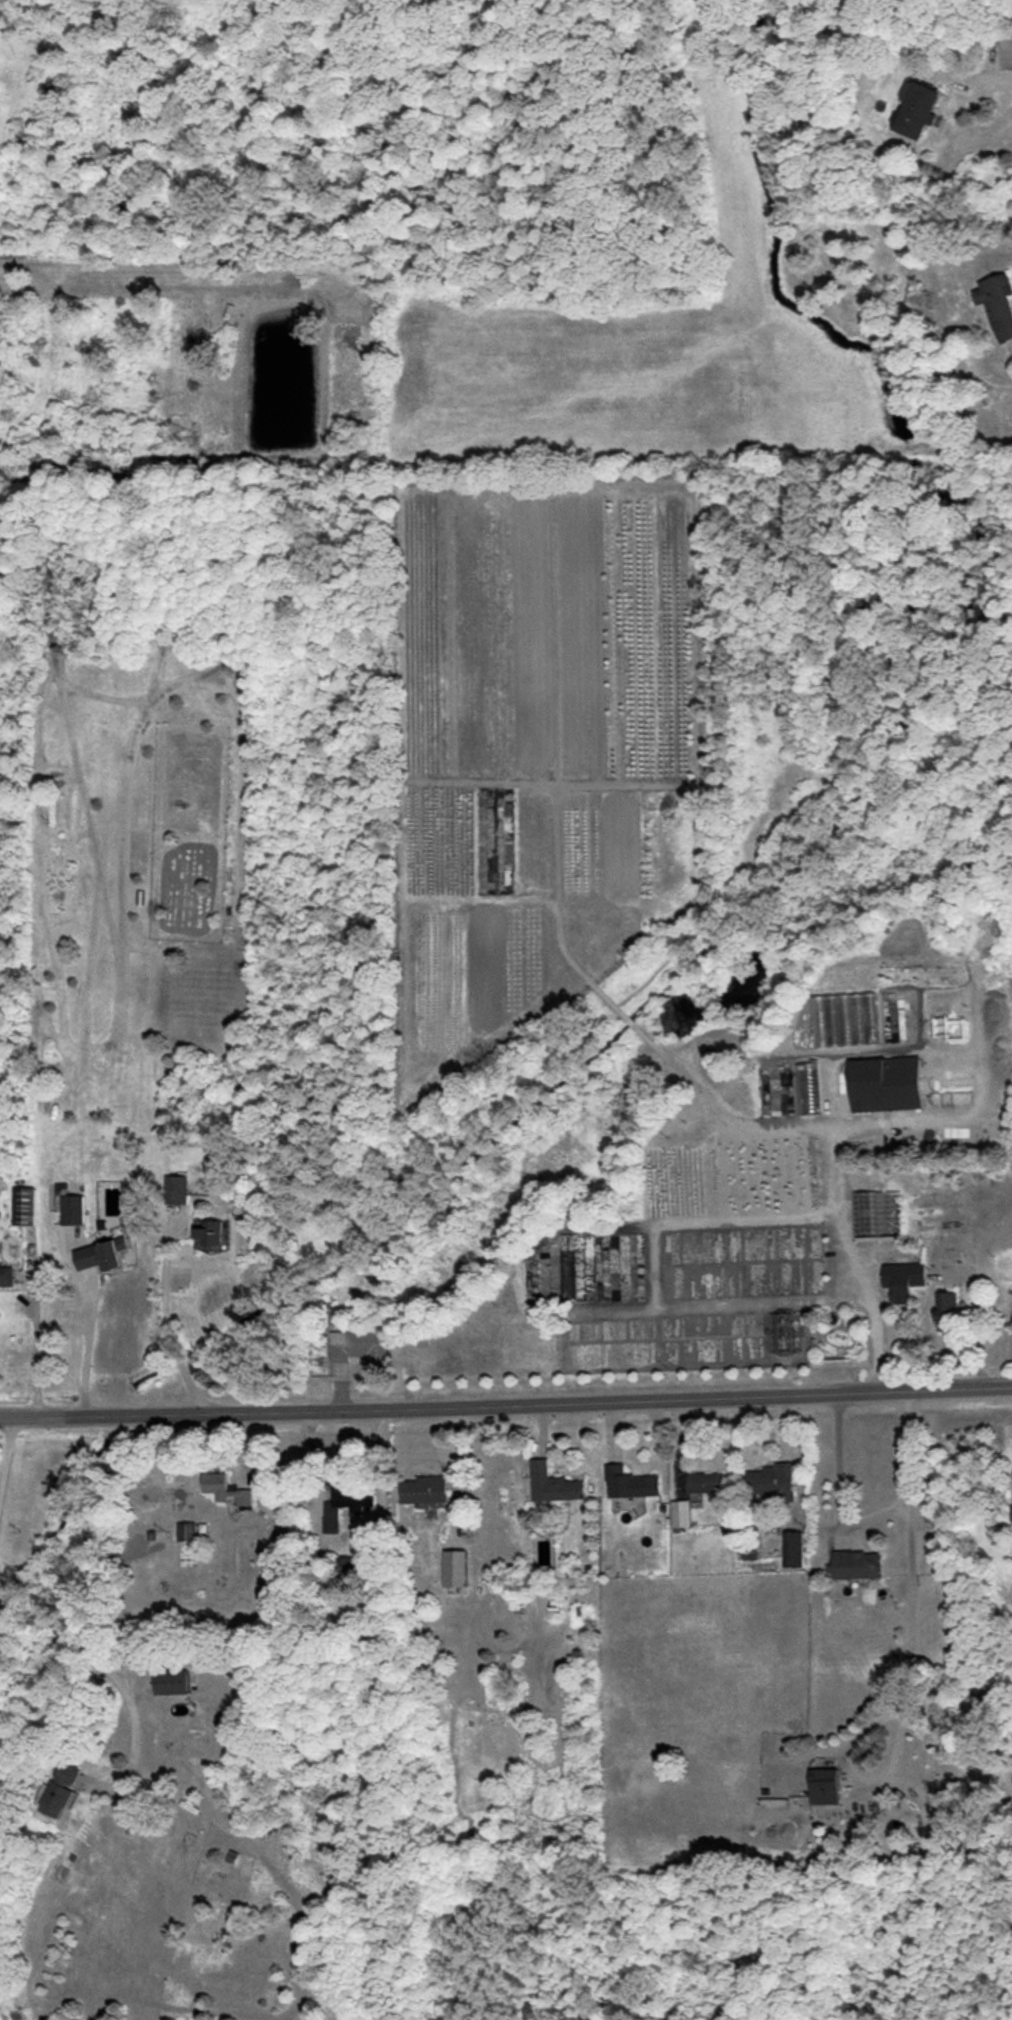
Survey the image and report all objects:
road: (990, 84)
building: (916, 110)
building: (997, 304)
building: (847, 1018)
building: (886, 1084)
building: (175, 1189)
building: (24, 1206)
building: (72, 1210)
building: (212, 1232)
road: (842, 1238)
building: (103, 1255)
building: (6, 1276)
building: (903, 1280)
building: (947, 1311)
road: (166, 1322)
road: (978, 1325)
road: (33, 1338)
building: (358, 1346)
road: (86, 1349)
road: (506, 1405)
road: (6, 1449)
road: (797, 1459)
building: (772, 1481)
building: (706, 1482)
building: (630, 1483)
building: (553, 1484)
building: (225, 1489)
building: (425, 1489)
road: (840, 1492)
building: (347, 1504)
building: (1011, 1513)
building: (681, 1514)
building: (187, 1532)
building: (793, 1549)
building: (857, 1565)
building: (455, 1568)
road: (909, 1659)
road: (105, 1666)
building: (172, 1683)
building: (825, 1786)
building: (62, 1788)

